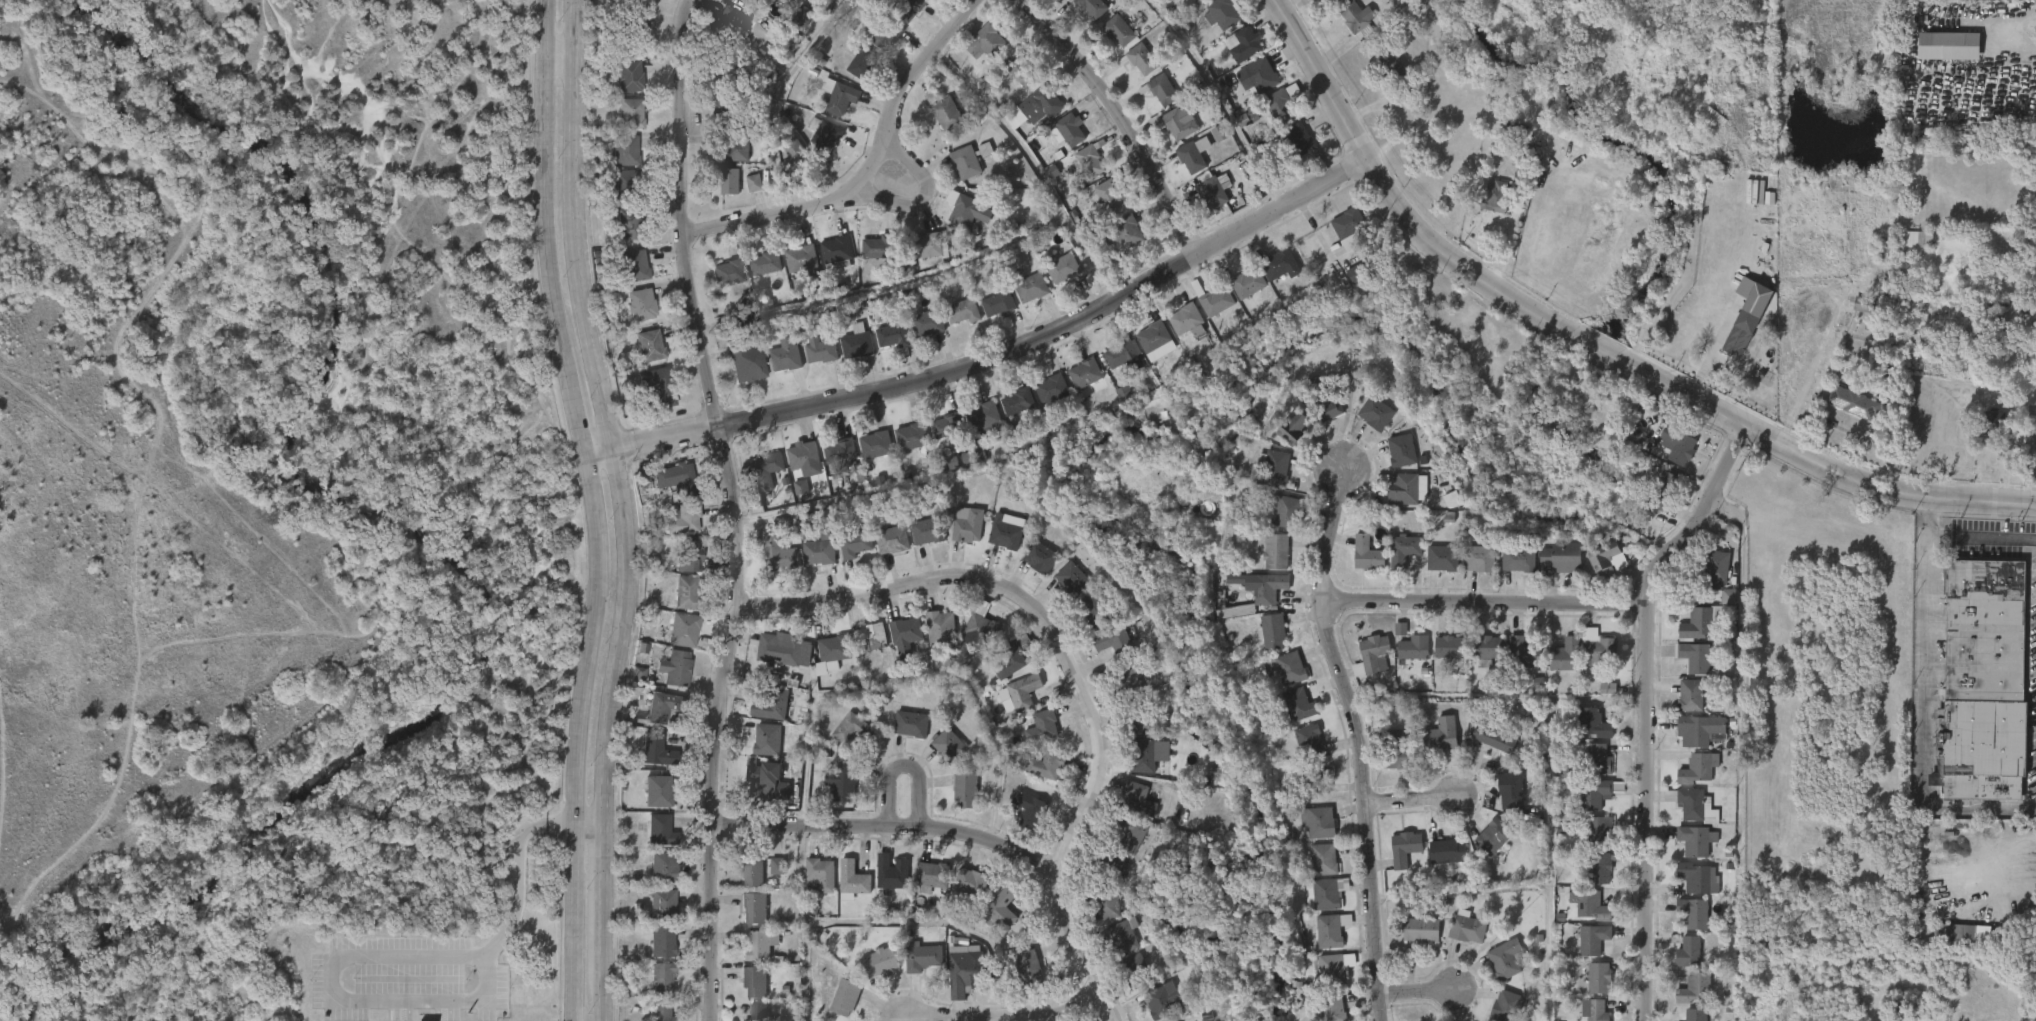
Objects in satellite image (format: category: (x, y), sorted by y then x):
building: (751, 0)
building: (1048, 0)
building: (628, 1)
building: (1332, 1)
building: (739, 3)
building: (1196, 3)
building: (2029, 6)
building: (1090, 7)
building: (906, 8)
building: (1222, 13)
building: (1081, 16)
building: (1357, 17)
building: (728, 23)
building: (1211, 25)
building: (794, 27)
building: (1346, 27)
building: (1118, 30)
building: (622, 34)
building: (885, 34)
building: (985, 42)
building: (1110, 42)
building: (1244, 45)
building: (875, 49)
building: (977, 53)
building: (1233, 55)
road: (557, 57)
building: (1138, 59)
building: (863, 62)
building: (1397, 70)
building: (1021, 71)
building: (1132, 71)
building: (851, 72)
building: (1381, 73)
building: (1261, 74)
building: (728, 75)
building: (627, 76)
building: (1013, 83)
building: (620, 88)
building: (1248, 88)
building: (1159, 89)
building: (837, 95)
building: (1150, 99)
building: (1284, 104)
building: (1037, 105)
building: (731, 106)
building: (830, 107)
building: (943, 112)
building: (628, 113)
building: (1270, 118)
road: (1109, 121)
building: (935, 122)
building: (1174, 123)
building: (621, 124)
building: (1070, 130)
building: (823, 135)
building: (1171, 135)
building: (1297, 141)
building: (1059, 142)
building: (735, 145)
building: (814, 146)
building: (623, 150)
building: (1288, 151)
building: (1193, 154)
building: (793, 158)
building: (1088, 159)
building: (616, 161)
building: (726, 161)
building: (964, 162)
road: (1039, 170)
road: (871, 172)
building: (956, 174)
building: (1080, 174)
building: (725, 179)
building: (620, 182)
building: (1216, 191)
building: (720, 192)
building: (1111, 192)
building: (745, 194)
building: (1496, 197)
road: (921, 203)
building: (1202, 204)
building: (1101, 207)
building: (1487, 207)
building: (966, 210)
building: (959, 222)
building: (627, 223)
building: (1349, 228)
building: (1124, 231)
building: (617, 234)
building: (1339, 239)
building: (1113, 243)
building: (925, 245)
building: (880, 247)
building: (1908, 250)
building: (835, 251)
building: (800, 258)
building: (868, 258)
building: (764, 263)
building: (828, 263)
building: (1283, 265)
building: (631, 266)
building: (1064, 267)
building: (791, 269)
building: (726, 273)
building: (1358, 273)
building: (756, 274)
building: (625, 276)
building: (1271, 276)
building: (1054, 280)
building: (719, 283)
building: (1249, 283)
road: (887, 286)
building: (1030, 287)
building: (1239, 294)
building: (1022, 299)
building: (1214, 299)
building: (997, 303)
building: (638, 304)
building: (961, 311)
building: (1207, 312)
building: (988, 315)
building: (1186, 317)
building: (953, 322)
building: (925, 323)
building: (1747, 327)
building: (1177, 332)
building: (918, 334)
building: (891, 335)
building: (1153, 336)
road: (1587, 341)
building: (855, 343)
building: (649, 344)
building: (817, 344)
building: (884, 346)
building: (1144, 347)
building: (848, 354)
building: (1121, 355)
building: (640, 356)
building: (783, 356)
building: (745, 361)
building: (811, 361)
road: (991, 368)
building: (1114, 368)
building: (1089, 376)
building: (658, 384)
building: (1076, 384)
building: (1053, 387)
building: (649, 396)
building: (1019, 400)
building: (1042, 400)
building: (1854, 403)
building: (1325, 408)
building: (1008, 412)
building: (1378, 413)
building: (984, 414)
building: (1843, 414)
building: (1319, 419)
building: (1992, 422)
building: (947, 424)
building: (1367, 424)
building: (1292, 428)
building: (976, 429)
building: (912, 436)
building: (938, 437)
building: (1282, 440)
building: (876, 444)
building: (1681, 445)
building: (902, 448)
building: (841, 450)
building: (1401, 451)
building: (866, 456)
building: (1668, 456)
building: (807, 458)
building: (2031, 459)
building: (830, 462)
building: (1392, 462)
building: (1273, 467)
building: (795, 469)
building: (765, 470)
building: (677, 477)
building: (1265, 479)
building: (758, 480)
building: (1404, 488)
building: (1667, 488)
building: (664, 489)
building: (1652, 493)
building: (792, 498)
road: (1728, 506)
road: (733, 508)
road: (585, 509)
road: (621, 509)
building: (1285, 511)
park: (284, 514)
park: (276, 516)
building: (684, 519)
building: (1276, 523)
building: (966, 524)
building: (924, 529)
building: (673, 531)
building: (1005, 531)
building: (890, 540)
building: (916, 542)
building: (853, 544)
road: (1978, 549)
building: (883, 551)
building: (1273, 551)
building: (1403, 551)
building: (776, 552)
building: (817, 552)
building: (1366, 555)
building: (1608, 555)
building: (688, 556)
building: (845, 556)
building: (1038, 557)
building: (1562, 558)
building: (1442, 559)
building: (1478, 559)
building: (1518, 560)
building: (1264, 561)
building: (1394, 561)
building: (809, 563)
building: (769, 564)
building: (1357, 565)
building: (679, 567)
building: (1030, 568)
building: (1433, 569)
building: (1552, 569)
building: (1596, 569)
building: (1719, 569)
building: (1469, 570)
building: (1508, 571)
building: (1072, 580)
building: (1706, 580)
building: (1272, 588)
building: (1062, 589)
building: (687, 592)
building: (1256, 598)
road: (1488, 601)
building: (676, 603)
building: (1719, 608)
building: (1095, 611)
building: (1083, 622)
building: (1701, 622)
building: (685, 628)
building: (939, 629)
building: (979, 631)
building: (1274, 631)
building: (868, 636)
building: (904, 636)
building: (674, 640)
building: (1113, 642)
building: (1264, 643)
building: (896, 646)
building: (1452, 646)
building: (1600, 646)
building: (861, 648)
building: (778, 649)
building: (833, 649)
building: (1414, 649)
building: (1487, 650)
building: (1104, 652)
building: (1376, 652)
building: (1526, 653)
building: (1567, 654)
building: (1438, 658)
building: (1695, 658)
building: (1011, 659)
building: (1404, 659)
building: (1592, 660)
building: (770, 661)
building: (824, 662)
building: (1366, 664)
building: (1554, 666)
building: (675, 668)
building: (1289, 668)
building: (1684, 668)
road: (1066, 670)
building: (1001, 671)
building: (1278, 678)
building: (667, 679)
building: (1348, 681)
building: (1979, 681)
building: (1124, 683)
building: (629, 684)
building: (1022, 692)
building: (1690, 696)
building: (1598, 699)
building: (1014, 702)
building: (1301, 704)
building: (770, 706)
building: (1680, 706)
building: (665, 707)
road: (1646, 708)
building: (1289, 715)
building: (648, 717)
building: (1136, 717)
road: (1916, 720)
building: (909, 724)
building: (1593, 724)
building: (1039, 727)
building: (851, 730)
building: (1700, 731)
building: (901, 735)
building: (1583, 735)
building: (1440, 736)
building: (1497, 738)
building: (842, 739)
building: (766, 740)
building: (1311, 741)
road: (1359, 741)
building: (948, 746)
building: (1299, 749)
building: (1484, 749)
building: (655, 750)
building: (758, 750)
building: (1398, 752)
building: (939, 756)
building: (1142, 756)
building: (1598, 759)
building: (647, 762)
building: (1046, 763)
road: (902, 765)
building: (1697, 768)
building: (1590, 770)
building: (1386, 773)
building: (1037, 776)
building: (759, 778)
building: (1313, 779)
building: (841, 781)
road: (2035, 788)
building: (965, 789)
building: (655, 790)
building: (1510, 790)
building: (1594, 792)
building: (833, 795)
building: (1137, 798)
road: (1411, 800)
building: (648, 801)
building: (956, 801)
building: (1501, 802)
building: (1693, 803)
building: (1585, 805)
building: (1029, 808)
building: (1129, 809)
building: (1687, 816)
building: (1019, 818)
road: (587, 822)
building: (1321, 822)
road: (889, 827)
building: (658, 829)
building: (1602, 831)
building: (1131, 832)
building: (1309, 832)
building: (1493, 835)
building: (1590, 839)
building: (651, 840)
building: (1696, 840)
building: (1121, 843)
building: (1404, 847)
building: (1482, 848)
building: (1446, 850)
building: (1686, 851)
building: (1325, 859)
building: (1395, 859)
building: (1109, 863)
building: (664, 866)
building: (1601, 866)
building: (2033, 867)
building: (1313, 870)
building: (751, 871)
building: (818, 874)
building: (893, 874)
building: (767, 876)
building: (929, 876)
building: (654, 877)
building: (1697, 878)
building: (1590, 879)
building: (851, 880)
building: (969, 882)
building: (743, 883)
building: (810, 885)
building: (884, 886)
building: (1687, 890)
building: (843, 891)
building: (958, 892)
building: (1328, 894)
building: (661, 901)
building: (1104, 902)
building: (1317, 904)
building: (1591, 906)
building: (752, 907)
building: (999, 909)
building: (1694, 912)
building: (653, 913)
building: (1097, 916)
building: (1580, 916)
building: (744, 918)
road: (891, 920)
building: (1684, 924)
building: (1466, 927)
building: (1421, 928)
building: (1330, 931)
building: (1956, 933)
building: (1123, 936)
building: (1457, 938)
building: (1593, 939)
building: (1411, 940)
building: (661, 941)
building: (1319, 942)
building: (758, 945)
building: (1952, 945)
building: (1113, 947)
building: (1583, 950)
building: (1689, 951)
building: (653, 953)
building: (921, 957)
road: (390, 958)
building: (1505, 959)
building: (877, 961)
building: (1679, 963)
building: (1030, 965)
building: (913, 967)
building: (964, 969)
building: (1332, 969)
building: (1135, 970)
building: (870, 973)
building: (660, 977)
building: (1598, 977)
building: (1019, 978)
building: (1322, 979)
building: (752, 980)
building: (653, 988)
building: (1589, 988)
building: (1694, 988)
building: (744, 992)
road: (1416, 992)
building: (844, 997)
building: (1685, 999)
building: (1159, 1001)
building: (1506, 1005)
building: (1334, 1006)
building: (1149, 1009)
building: (1594, 1009)
building: (659, 1011)
building: (757, 1012)
building: (1696, 1014)
building: (1582, 1015)
road: (1003, 1020)

